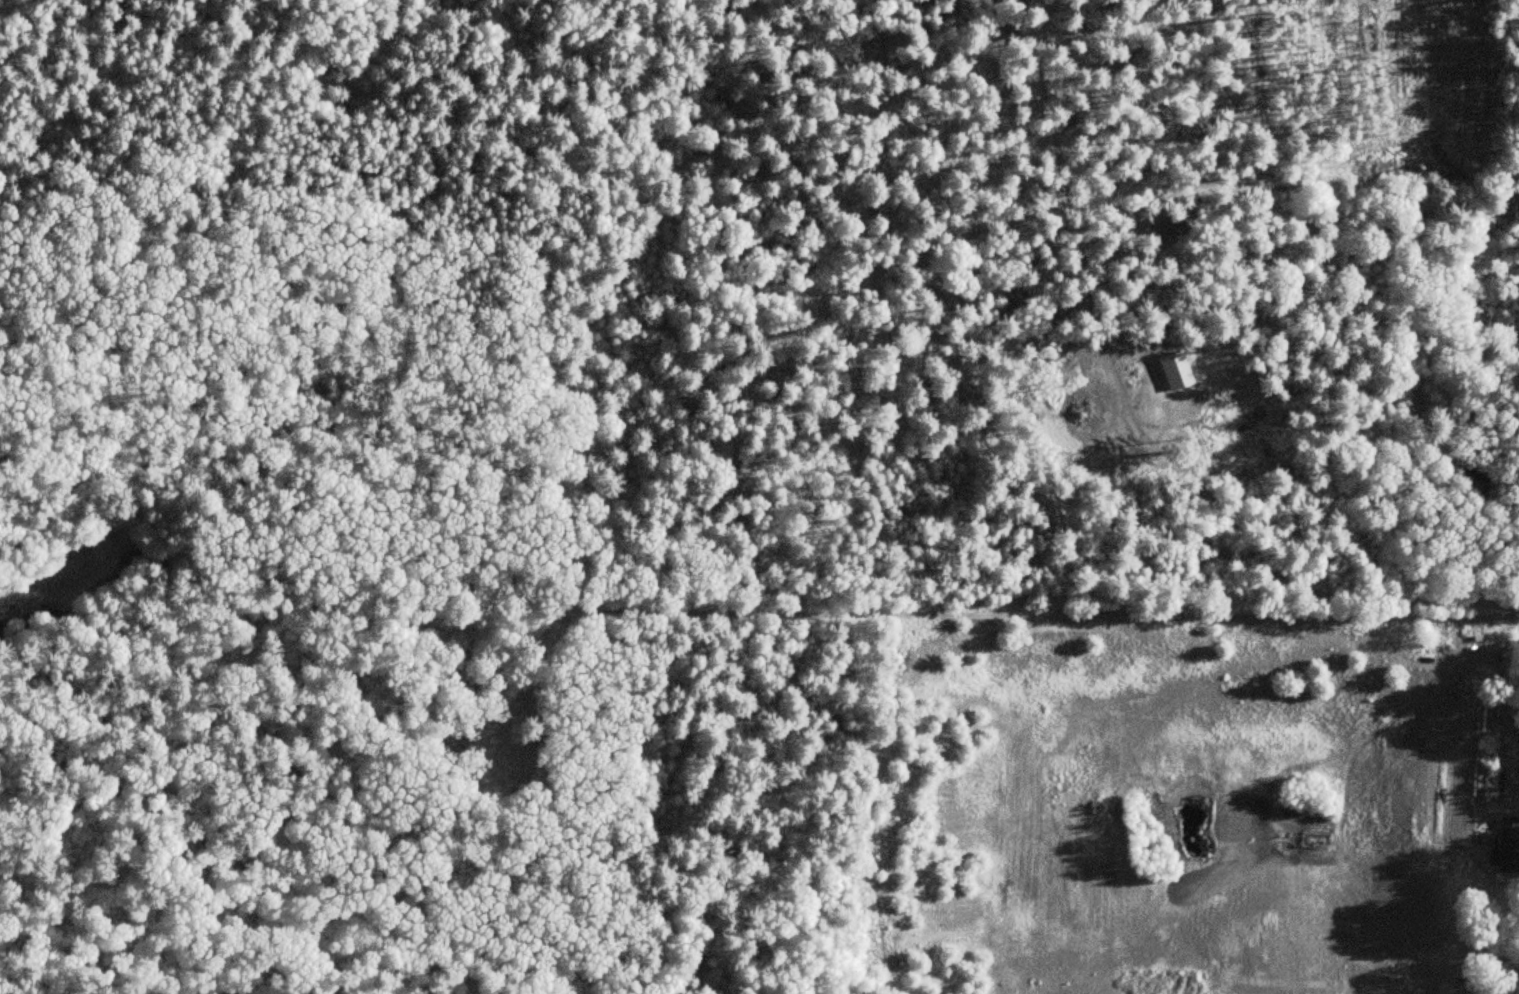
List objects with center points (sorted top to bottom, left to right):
building: (1505, 845)

